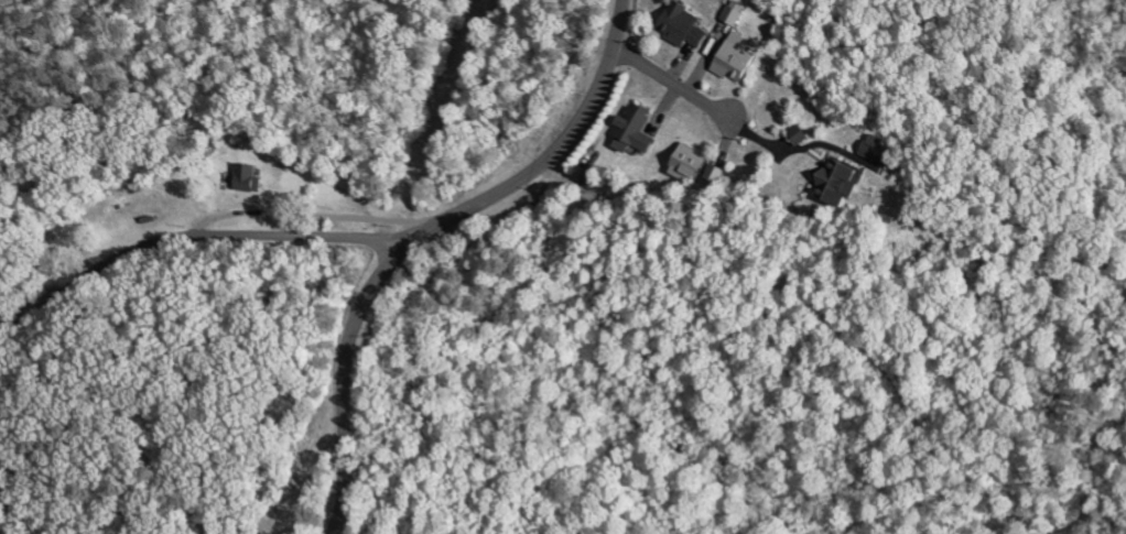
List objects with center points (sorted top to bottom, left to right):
building: (734, 13)
building: (681, 25)
building: (734, 58)
building: (630, 132)
building: (685, 163)
building: (249, 173)
building: (714, 173)
building: (589, 182)
building: (246, 186)
road: (423, 236)
road: (196, 237)

